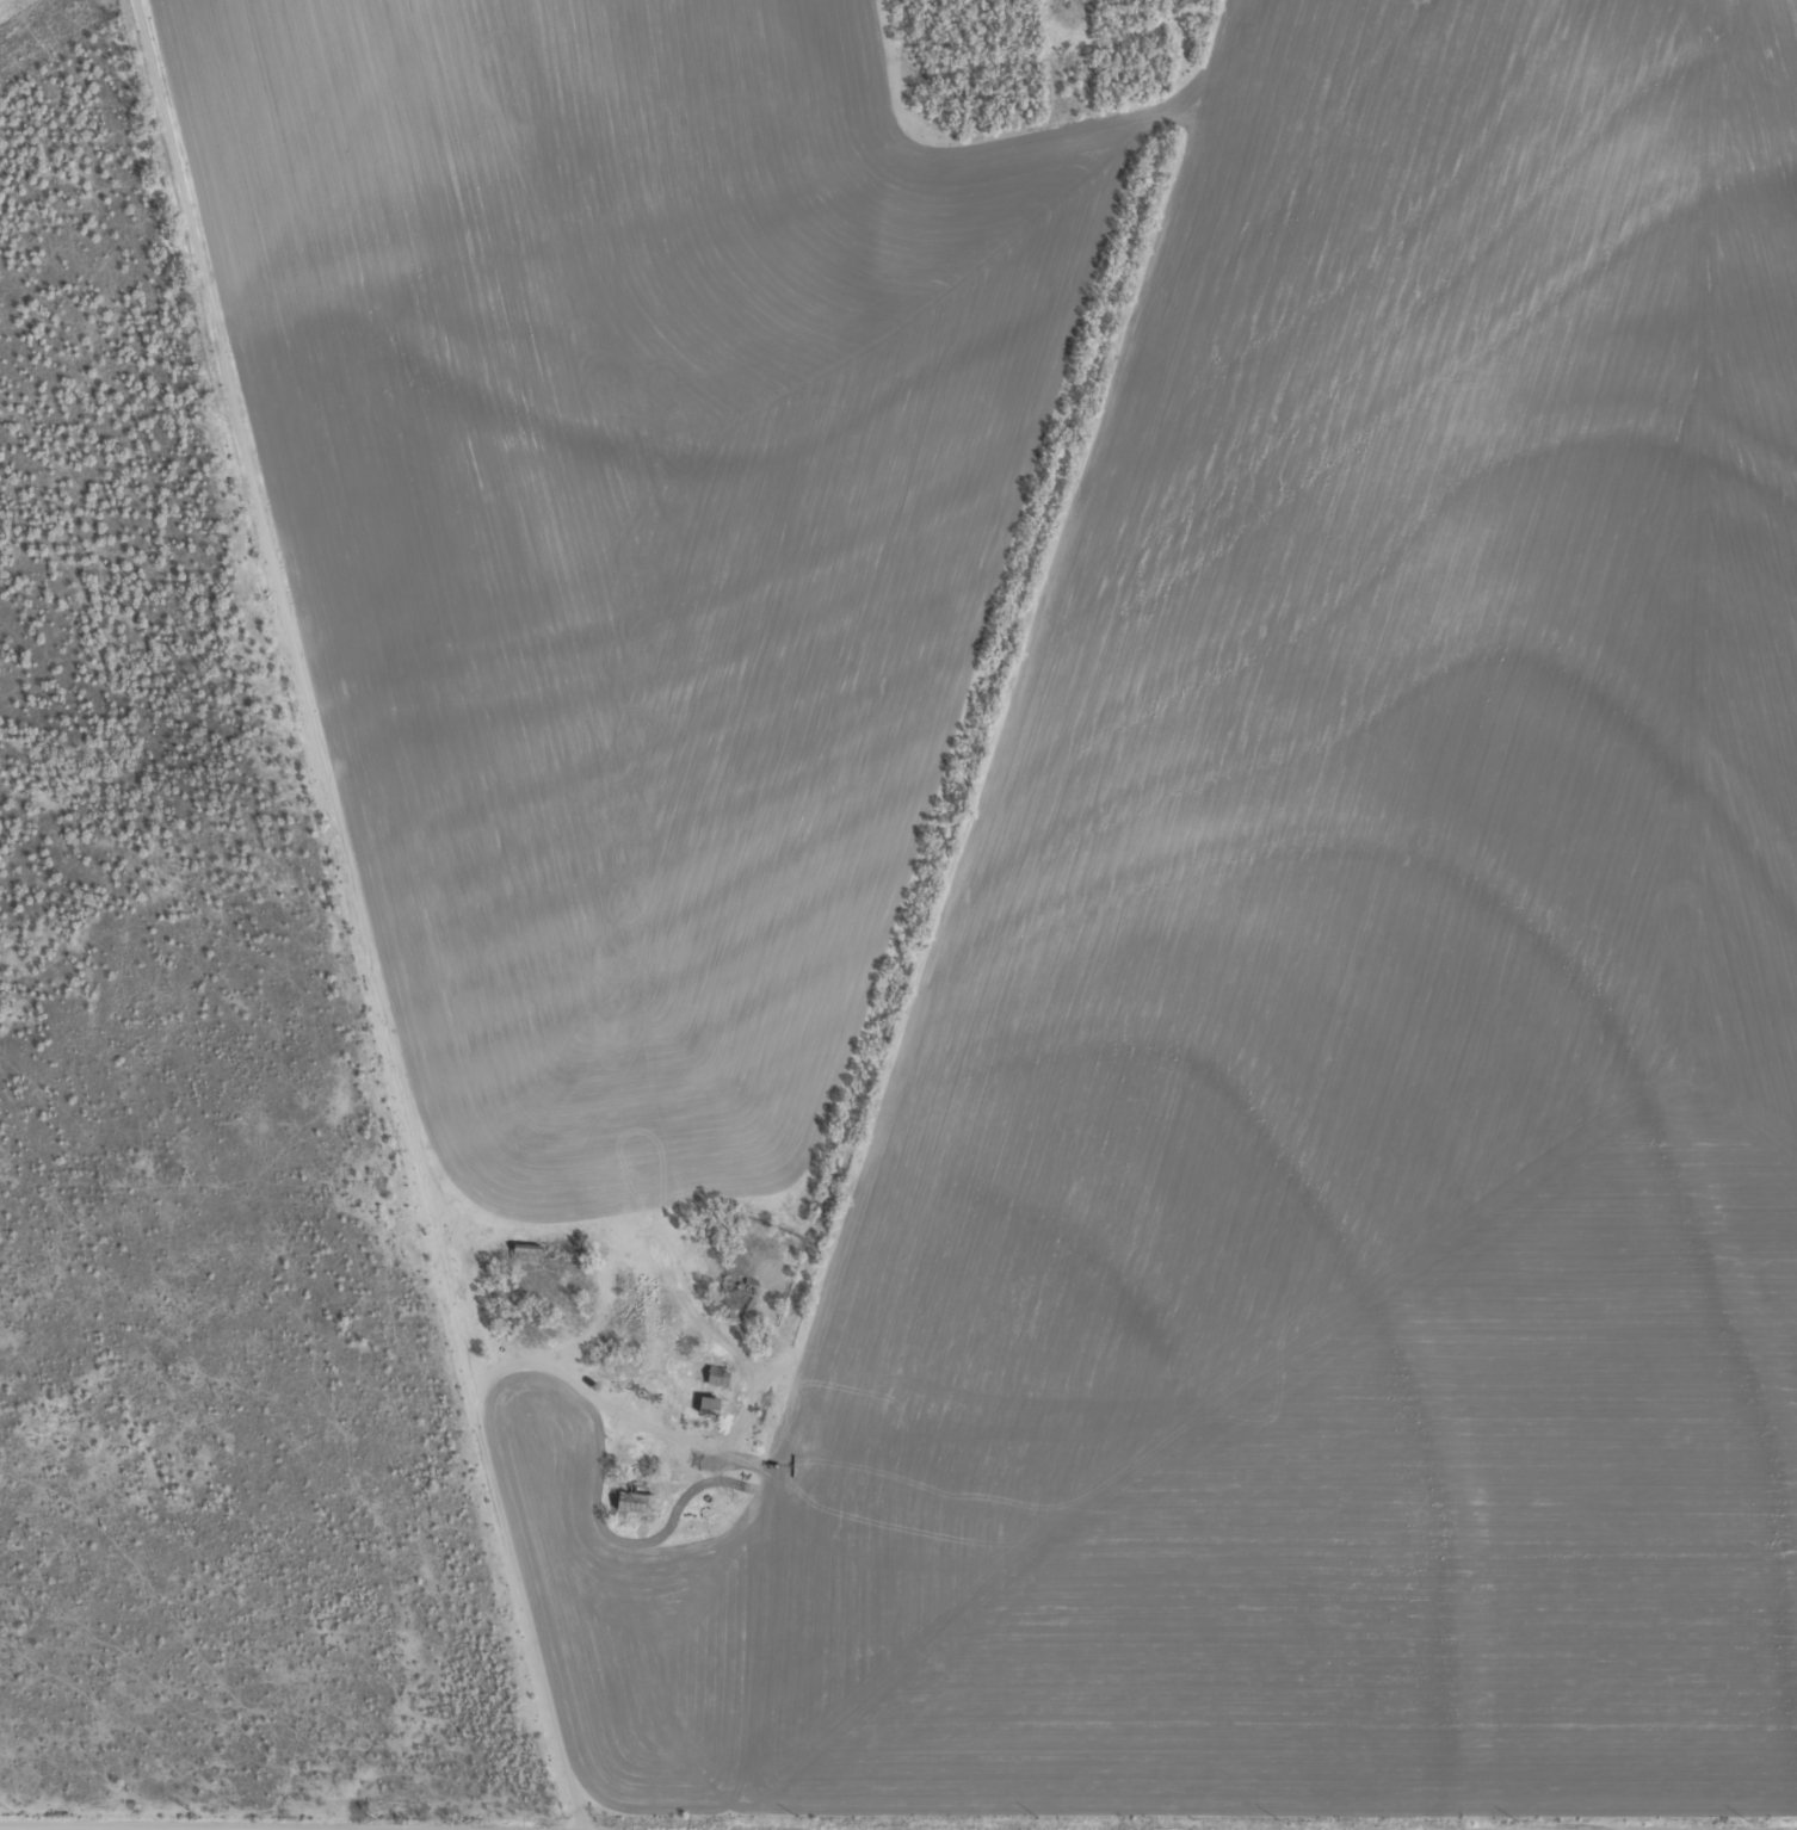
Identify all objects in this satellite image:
road: (339, 910)
road: (705, 1596)
road: (897, 1822)

